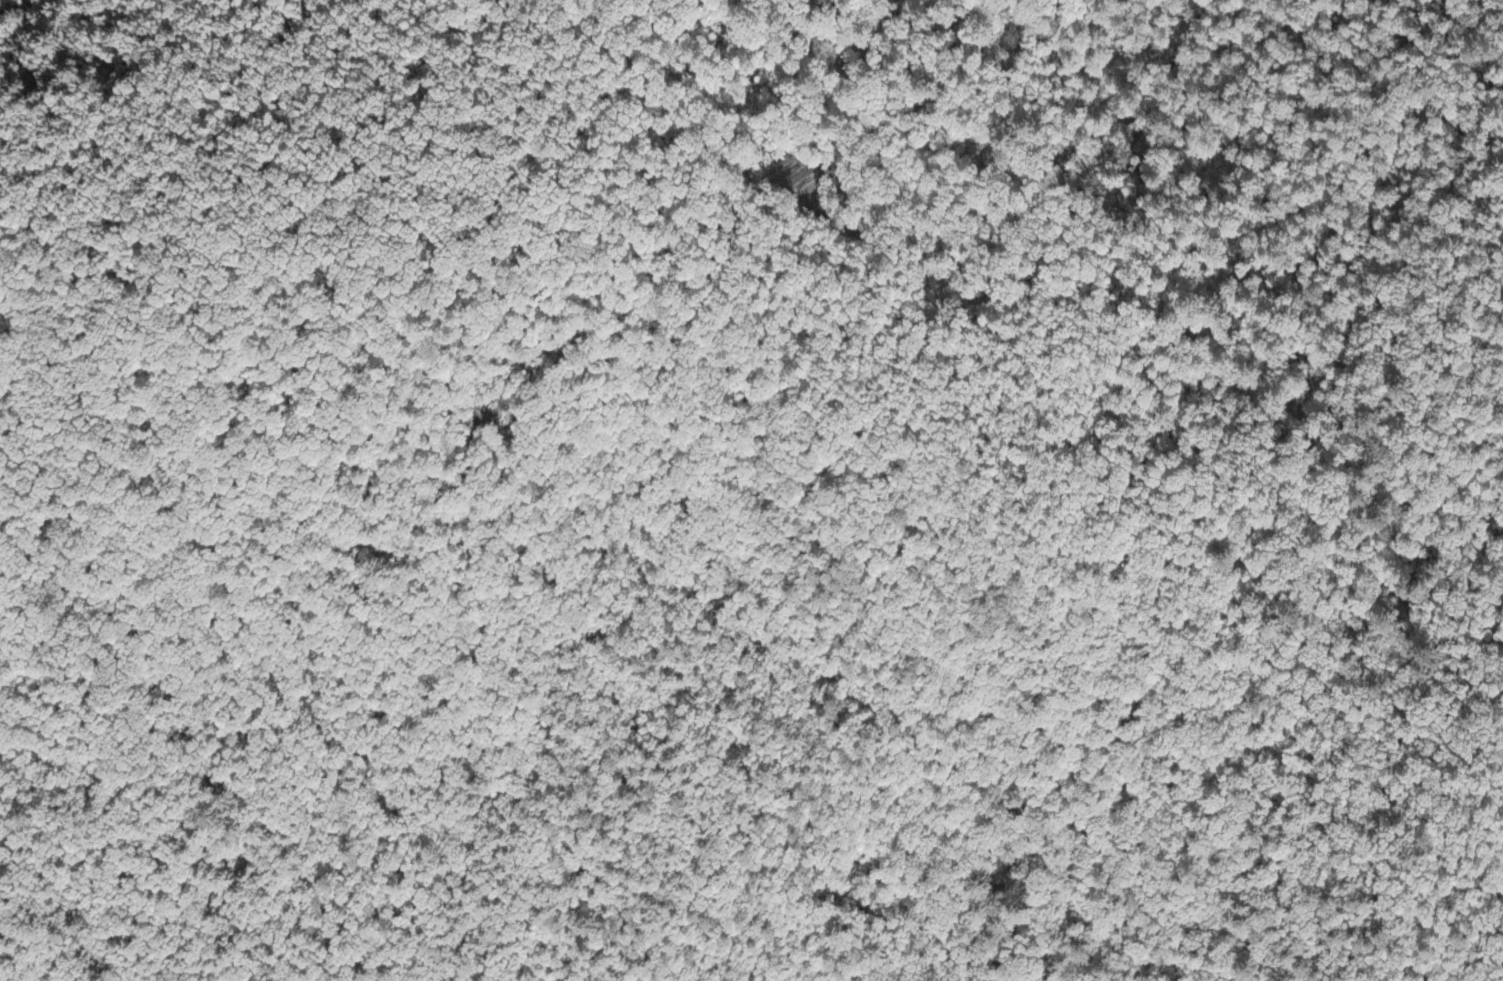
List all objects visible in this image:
road: (1457, 56)
road: (1476, 142)
road: (1431, 741)

